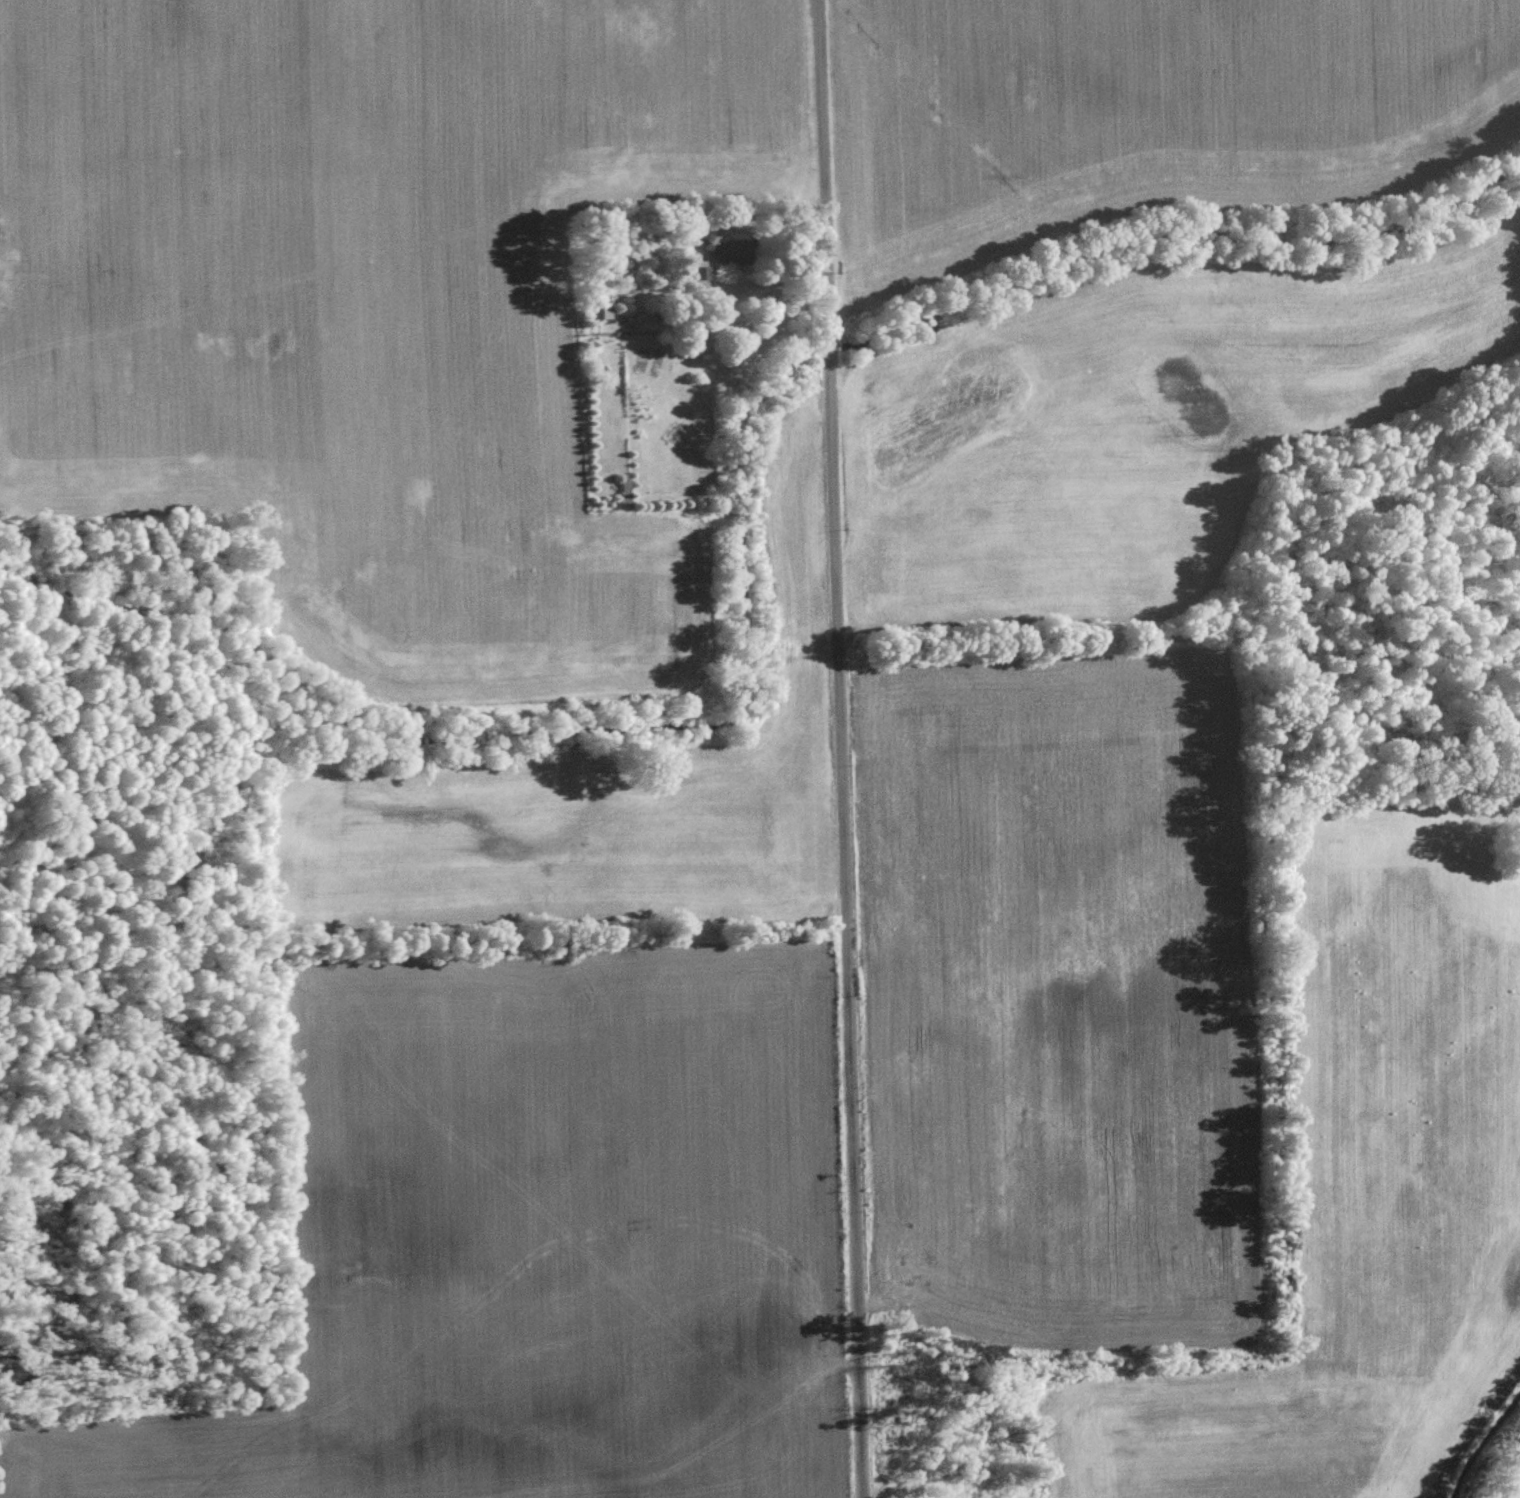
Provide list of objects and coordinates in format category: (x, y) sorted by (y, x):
road: (840, 749)

